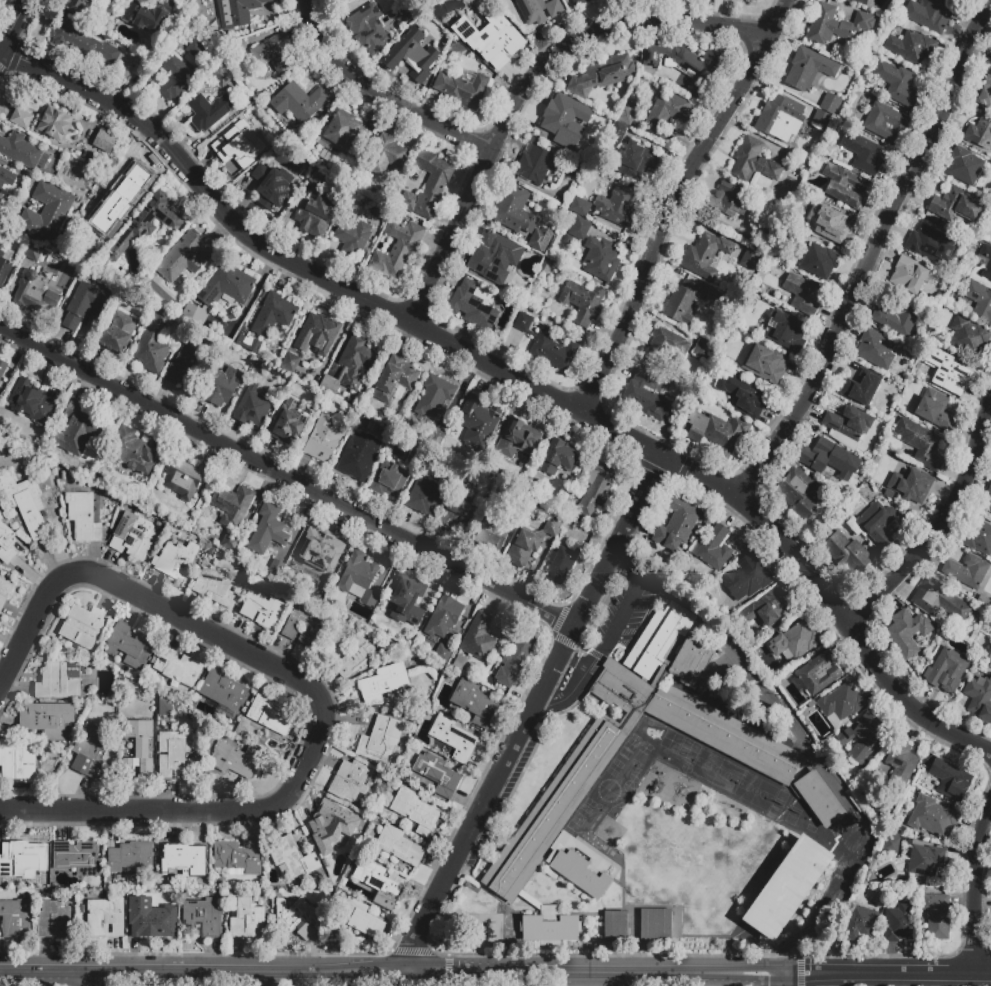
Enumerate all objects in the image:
building: (859, 1)
building: (580, 2)
building: (76, 5)
building: (539, 10)
building: (237, 12)
building: (928, 14)
building: (145, 15)
building: (405, 16)
building: (449, 20)
road: (13, 25)
building: (835, 25)
building: (368, 30)
building: (498, 41)
building: (82, 42)
building: (448, 43)
building: (911, 47)
building: (198, 52)
building: (275, 54)
building: (413, 62)
building: (684, 65)
building: (808, 68)
building: (601, 75)
building: (223, 78)
building: (176, 79)
building: (895, 82)
road: (527, 83)
building: (986, 89)
building: (465, 90)
road: (377, 96)
building: (299, 101)
building: (829, 103)
building: (208, 111)
building: (667, 113)
building: (559, 116)
building: (626, 116)
building: (21, 118)
building: (779, 118)
building: (820, 120)
building: (54, 123)
building: (599, 123)
building: (885, 123)
building: (617, 131)
building: (344, 133)
building: (979, 133)
building: (104, 140)
building: (275, 140)
building: (237, 144)
building: (22, 151)
building: (862, 153)
building: (632, 155)
building: (387, 157)
building: (753, 161)
building: (533, 165)
building: (964, 166)
building: (574, 168)
road: (23, 173)
building: (125, 178)
building: (6, 181)
building: (271, 185)
building: (427, 185)
building: (844, 186)
road: (671, 200)
building: (728, 200)
building: (955, 205)
building: (617, 206)
building: (579, 207)
building: (513, 210)
building: (379, 212)
building: (46, 214)
building: (315, 215)
building: (147, 222)
building: (117, 223)
building: (833, 225)
building: (767, 226)
building: (990, 226)
building: (579, 228)
building: (795, 234)
building: (352, 237)
building: (541, 239)
building: (567, 239)
building: (930, 244)
building: (396, 249)
building: (33, 252)
building: (493, 255)
building: (705, 256)
building: (184, 257)
building: (749, 258)
building: (600, 259)
road: (866, 259)
building: (819, 261)
building: (545, 266)
building: (4, 267)
building: (988, 267)
building: (910, 275)
building: (226, 286)
building: (33, 292)
building: (802, 294)
building: (979, 300)
building: (684, 302)
building: (581, 303)
building: (725, 304)
building: (85, 305)
building: (471, 306)
building: (194, 314)
building: (273, 314)
building: (896, 318)
building: (780, 331)
building: (118, 333)
building: (317, 334)
building: (968, 337)
building: (247, 343)
building: (547, 344)
building: (667, 344)
building: (153, 345)
building: (702, 349)
building: (875, 349)
building: (289, 362)
building: (185, 365)
building: (766, 365)
building: (351, 366)
building: (2, 367)
building: (949, 373)
road: (517, 378)
building: (393, 379)
building: (221, 387)
building: (861, 389)
building: (645, 395)
building: (432, 396)
building: (745, 396)
building: (35, 401)
building: (251, 406)
building: (934, 410)
building: (288, 421)
building: (477, 422)
building: (847, 427)
building: (76, 429)
building: (716, 432)
building: (435, 438)
building: (321, 439)
building: (518, 441)
building: (920, 444)
building: (134, 451)
building: (359, 455)
building: (558, 458)
building: (829, 458)
building: (494, 476)
building: (183, 478)
road: (286, 478)
building: (389, 479)
building: (909, 484)
building: (595, 488)
building: (799, 494)
building: (423, 496)
building: (987, 501)
building: (23, 502)
building: (232, 505)
building: (457, 515)
building: (83, 518)
building: (877, 523)
road: (940, 525)
building: (675, 527)
building: (267, 530)
building: (492, 530)
building: (133, 536)
building: (977, 537)
building: (6, 542)
building: (529, 542)
building: (229, 543)
building: (714, 547)
building: (844, 551)
building: (317, 552)
building: (176, 560)
building: (562, 563)
building: (275, 568)
building: (966, 571)
building: (359, 578)
building: (747, 580)
building: (217, 588)
building: (4, 591)
building: (407, 602)
building: (938, 602)
building: (262, 608)
road: (625, 608)
building: (767, 608)
parking lot: (623, 613)
building: (443, 617)
road: (552, 624)
building: (83, 626)
building: (305, 627)
building: (905, 633)
building: (478, 638)
building: (658, 639)
building: (793, 642)
building: (129, 645)
road: (556, 645)
building: (441, 653)
building: (355, 655)
building: (691, 660)
building: (513, 661)
road: (574, 661)
building: (988, 661)
building: (459, 662)
building: (945, 666)
building: (178, 668)
building: (723, 671)
building: (816, 672)
building: (59, 681)
building: (383, 683)
road: (313, 691)
building: (223, 693)
road: (518, 695)
road: (568, 696)
building: (979, 698)
building: (475, 703)
building: (840, 704)
building: (164, 708)
road: (531, 712)
road: (537, 713)
building: (272, 715)
building: (47, 721)
building: (453, 738)
building: (859, 738)
building: (380, 740)
building: (137, 746)
building: (89, 749)
building: (176, 755)
building: (235, 760)
building: (18, 764)
building: (900, 764)
building: (437, 774)
building: (949, 779)
building: (350, 780)
building: (803, 782)
building: (854, 801)
building: (415, 811)
building: (931, 816)
building: (332, 829)
building: (891, 844)
building: (398, 846)
building: (24, 856)
building: (130, 857)
building: (77, 858)
building: (238, 858)
building: (183, 859)
building: (293, 859)
building: (925, 859)
building: (580, 866)
building: (380, 883)
building: (787, 888)
road: (974, 890)
building: (935, 916)
building: (203, 917)
building: (15, 918)
building: (105, 918)
building: (299, 919)
building: (362, 919)
building: (247, 920)
building: (55, 921)
building: (153, 922)
building: (860, 923)
building: (897, 924)
building: (549, 925)
building: (655, 925)
building: (614, 926)
street lamp: (834, 953)
road: (404, 956)
road: (605, 960)
road: (249, 971)
road: (597, 971)
road: (429, 972)
road: (888, 973)
road: (46, 974)
road: (796, 974)
road: (786, 979)
road: (92, 980)

